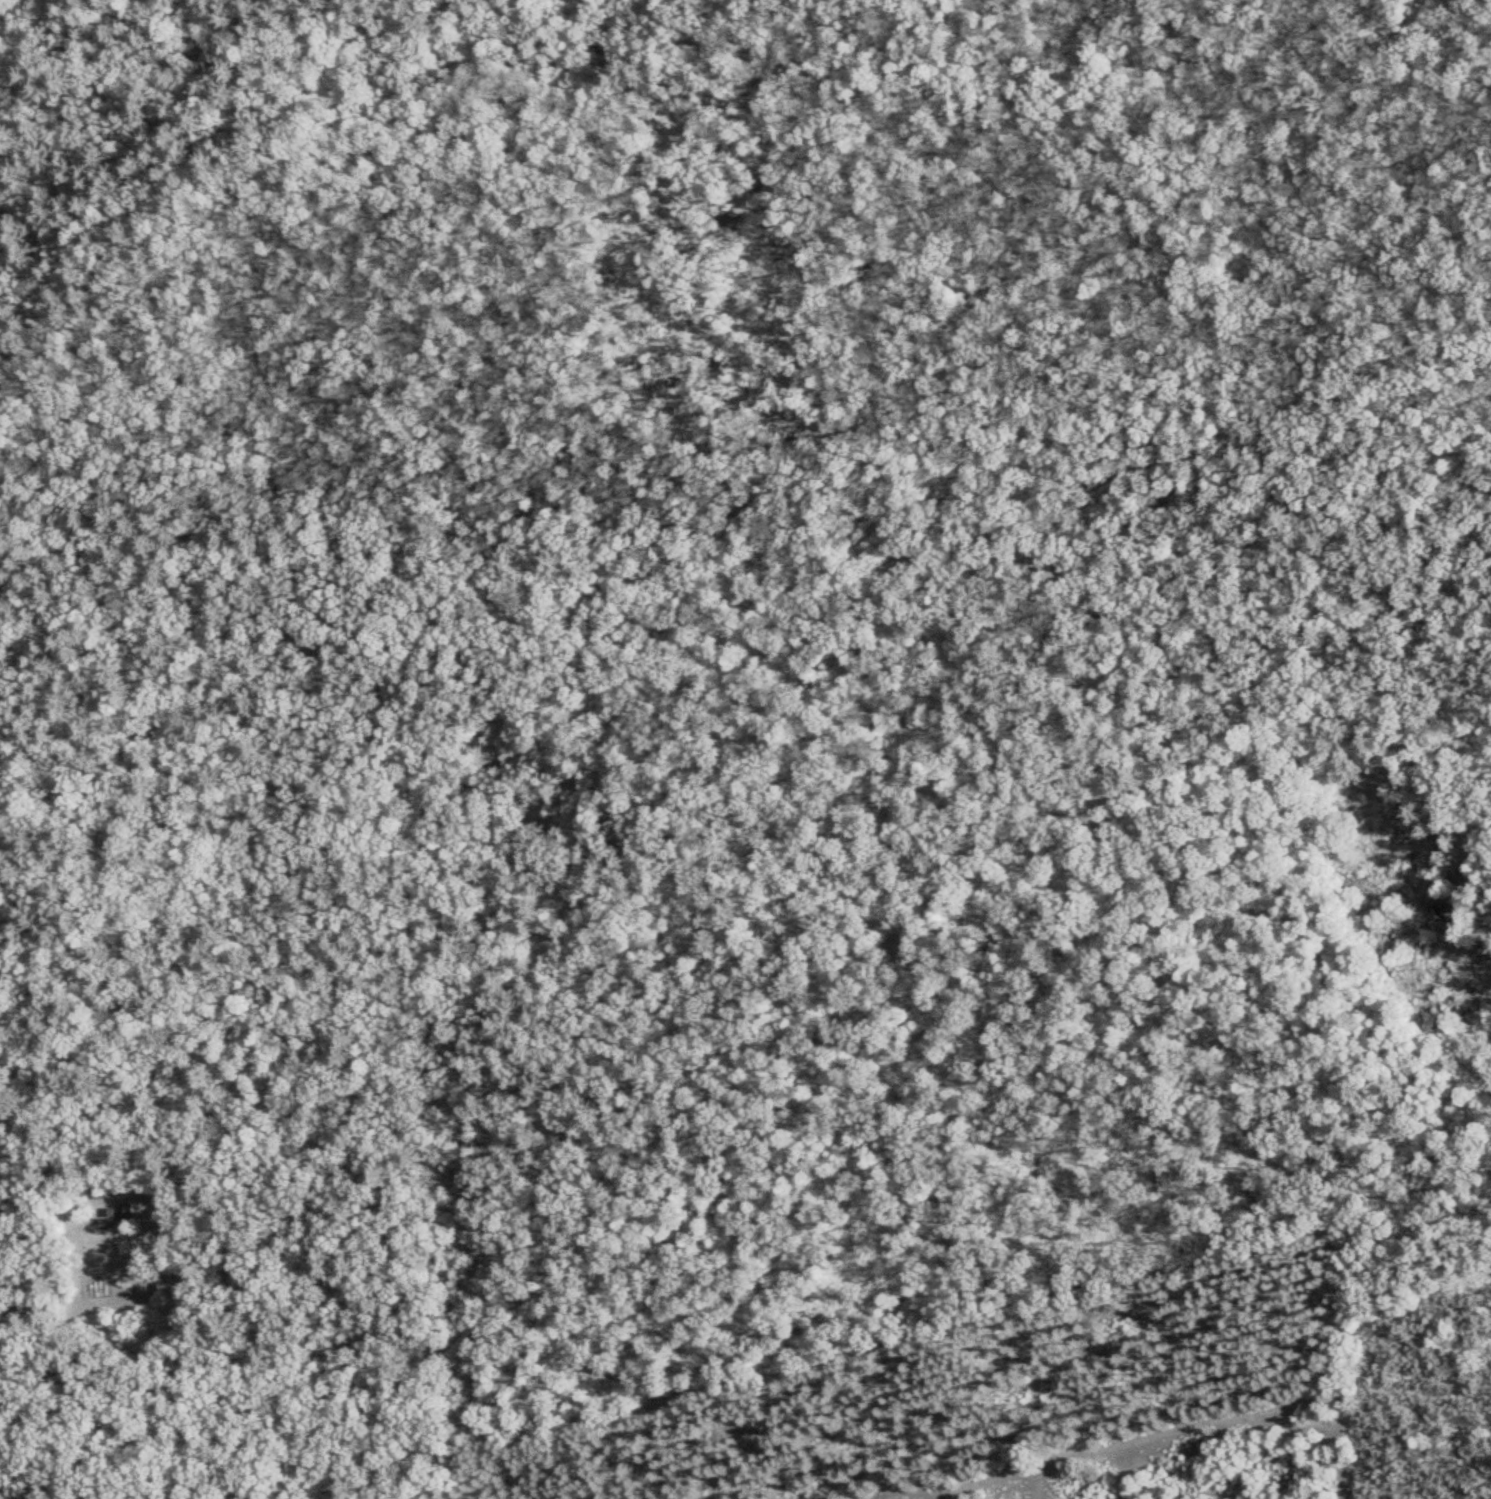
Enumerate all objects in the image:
building: (123, 1220)

